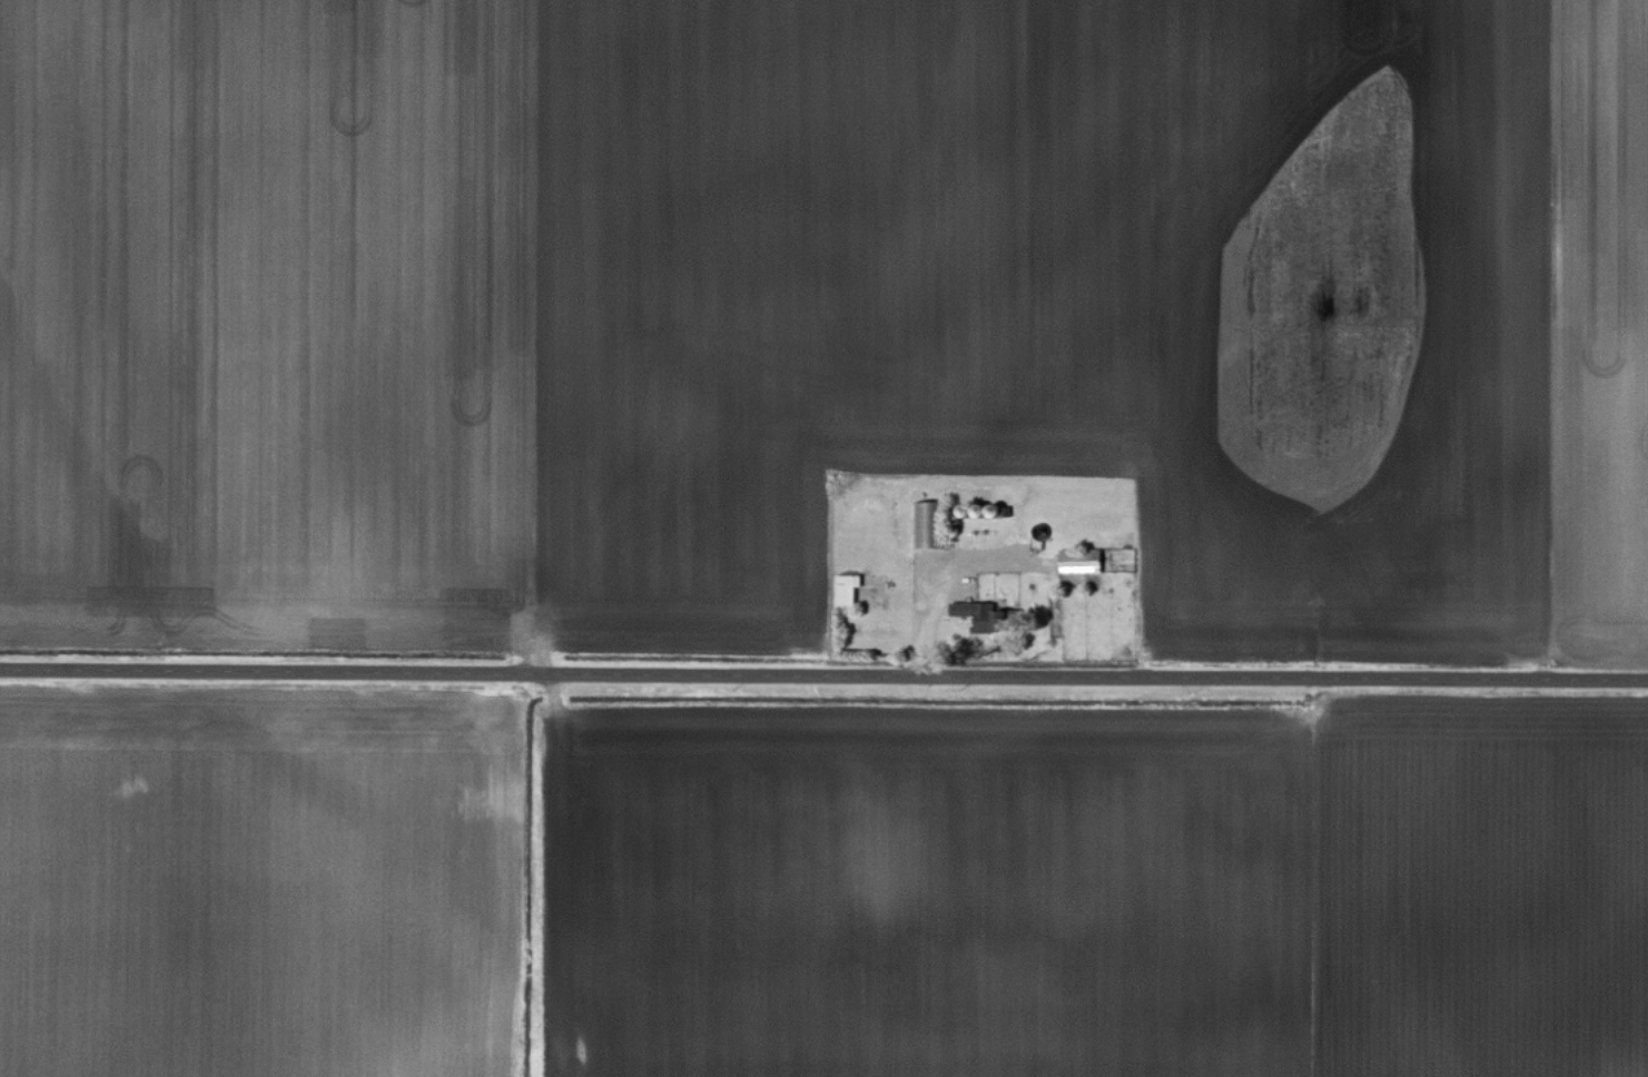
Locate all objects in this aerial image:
building: (1085, 564)
road: (928, 583)
building: (851, 592)
building: (983, 616)
road: (823, 674)

